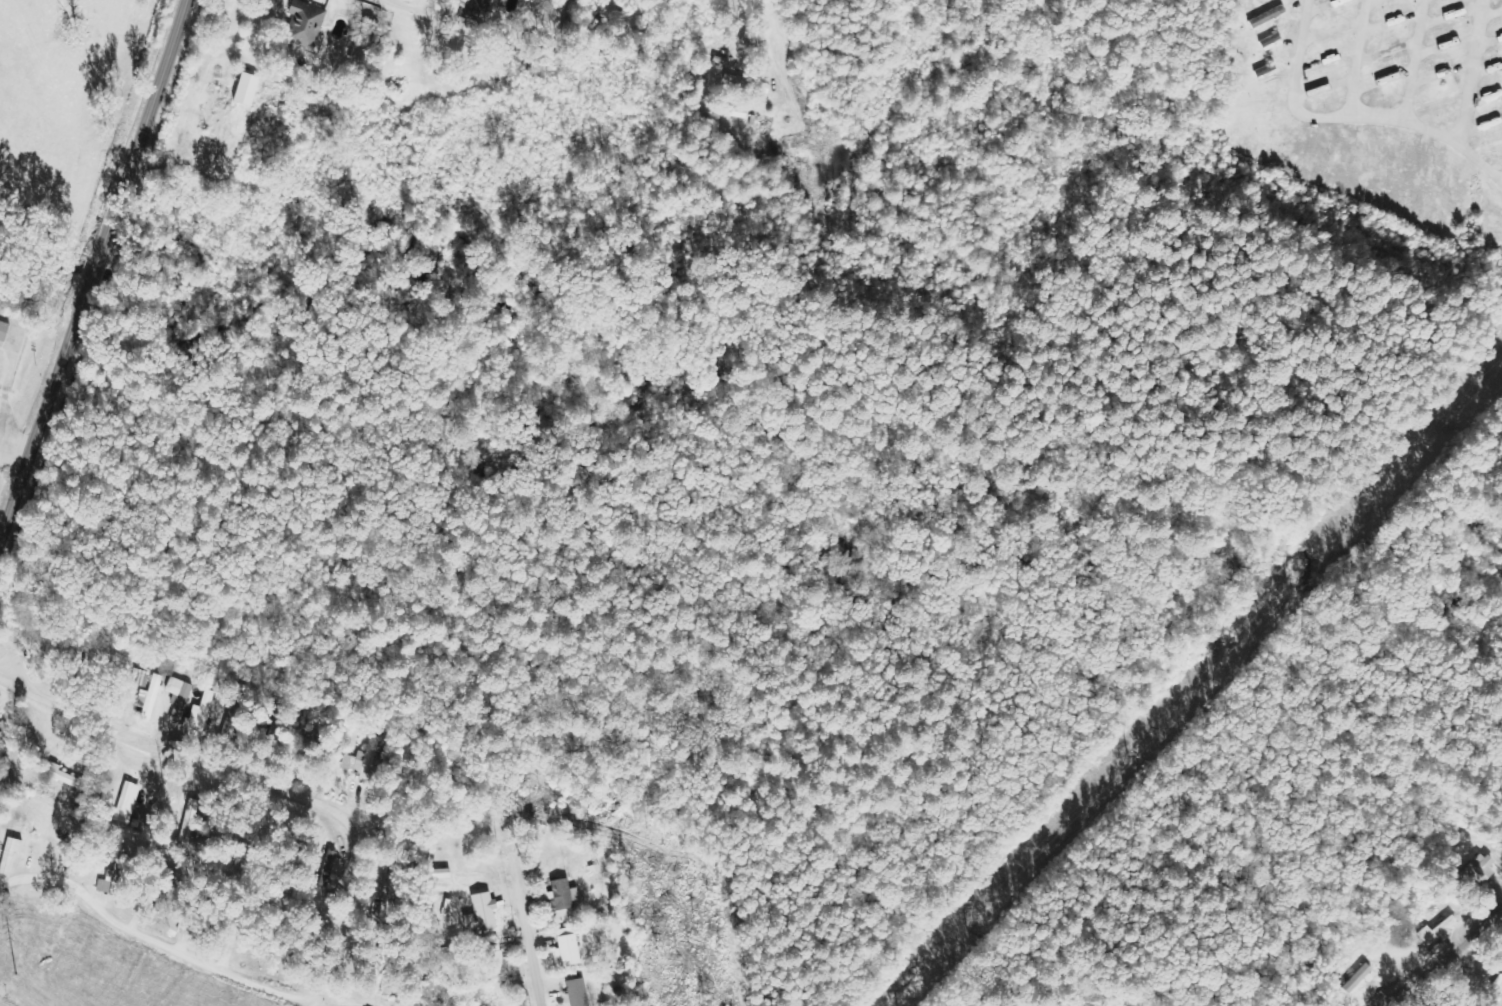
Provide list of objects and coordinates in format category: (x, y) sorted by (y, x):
building: (475, 8)
building: (1268, 16)
building: (304, 24)
building: (1271, 41)
road: (1359, 58)
road: (1417, 60)
road: (1474, 73)
building: (245, 89)
building: (1255, 104)
road: (1351, 117)
road: (95, 269)
building: (3, 331)
building: (151, 698)
building: (180, 698)
building: (199, 717)
building: (3, 740)
building: (364, 760)
building: (128, 800)
building: (9, 854)
building: (332, 869)
building: (440, 874)
building: (563, 894)
building: (481, 913)
road: (526, 930)
building: (1438, 931)
building: (566, 948)
road: (1450, 951)
building: (492, 960)
building: (1358, 980)
building: (1496, 989)
building: (577, 993)

